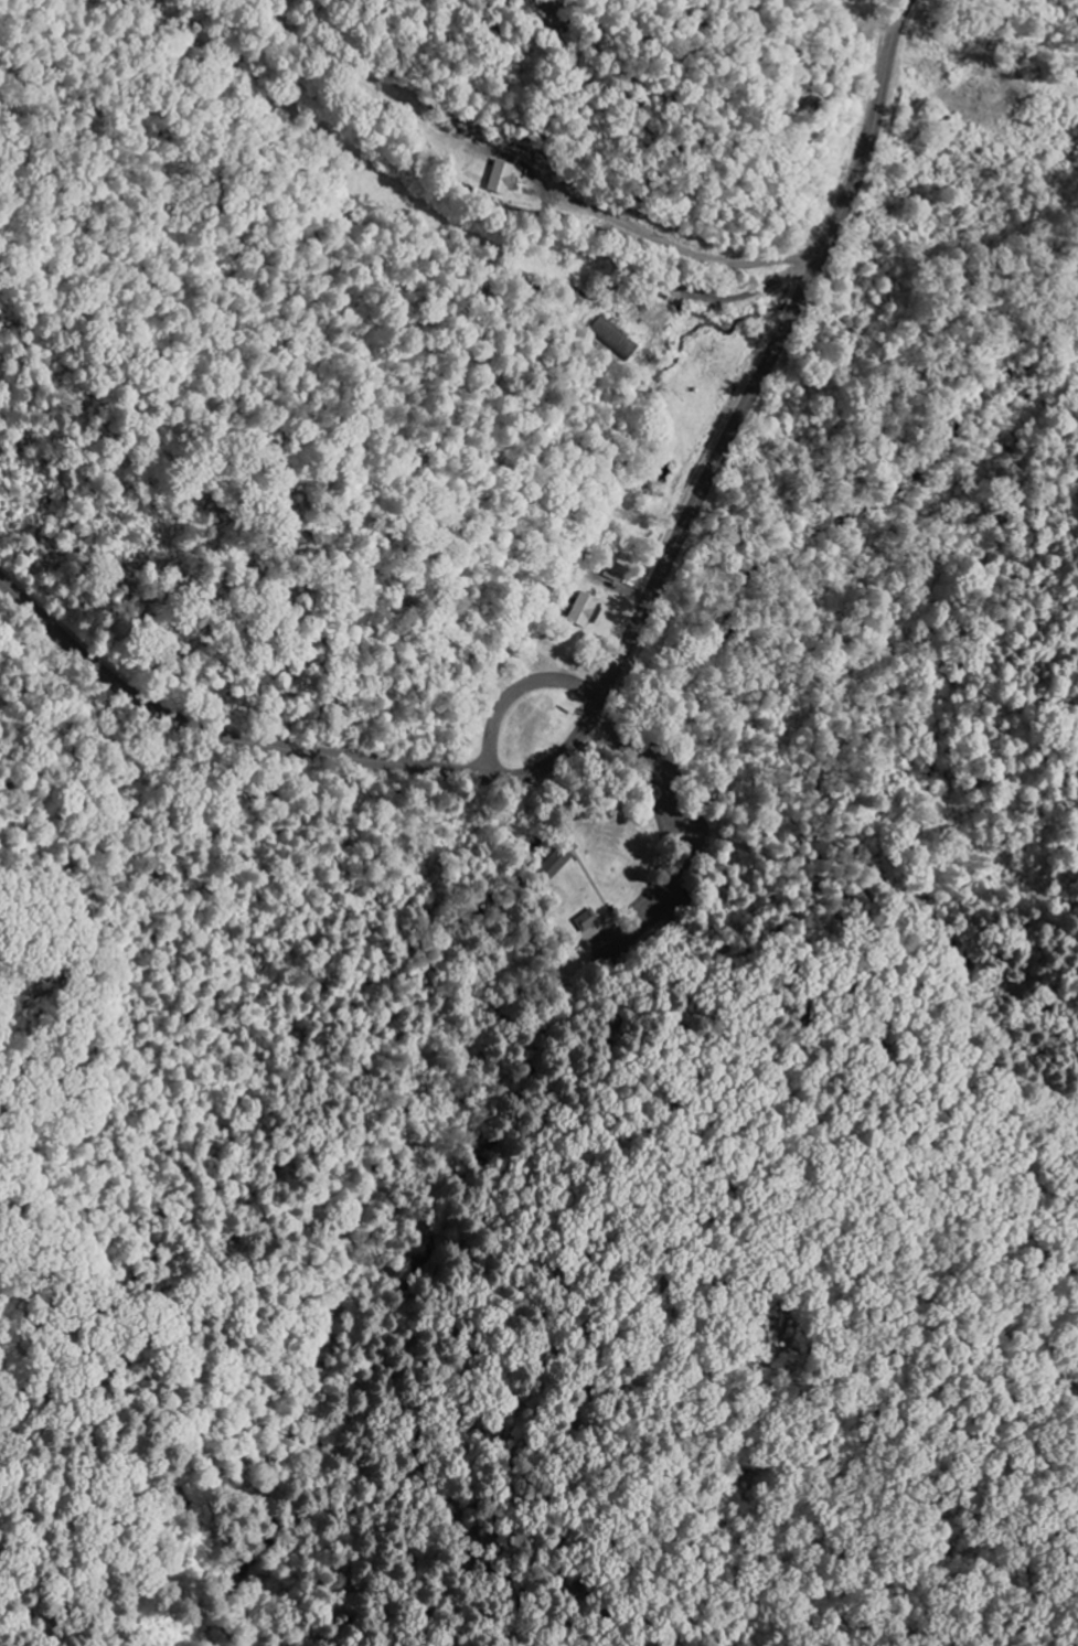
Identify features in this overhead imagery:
building: (501, 177)
road: (484, 202)
building: (616, 339)
road: (780, 339)
building: (616, 571)
building: (584, 609)
road: (305, 739)
parking lot: (663, 777)
building: (557, 862)
building: (587, 920)

